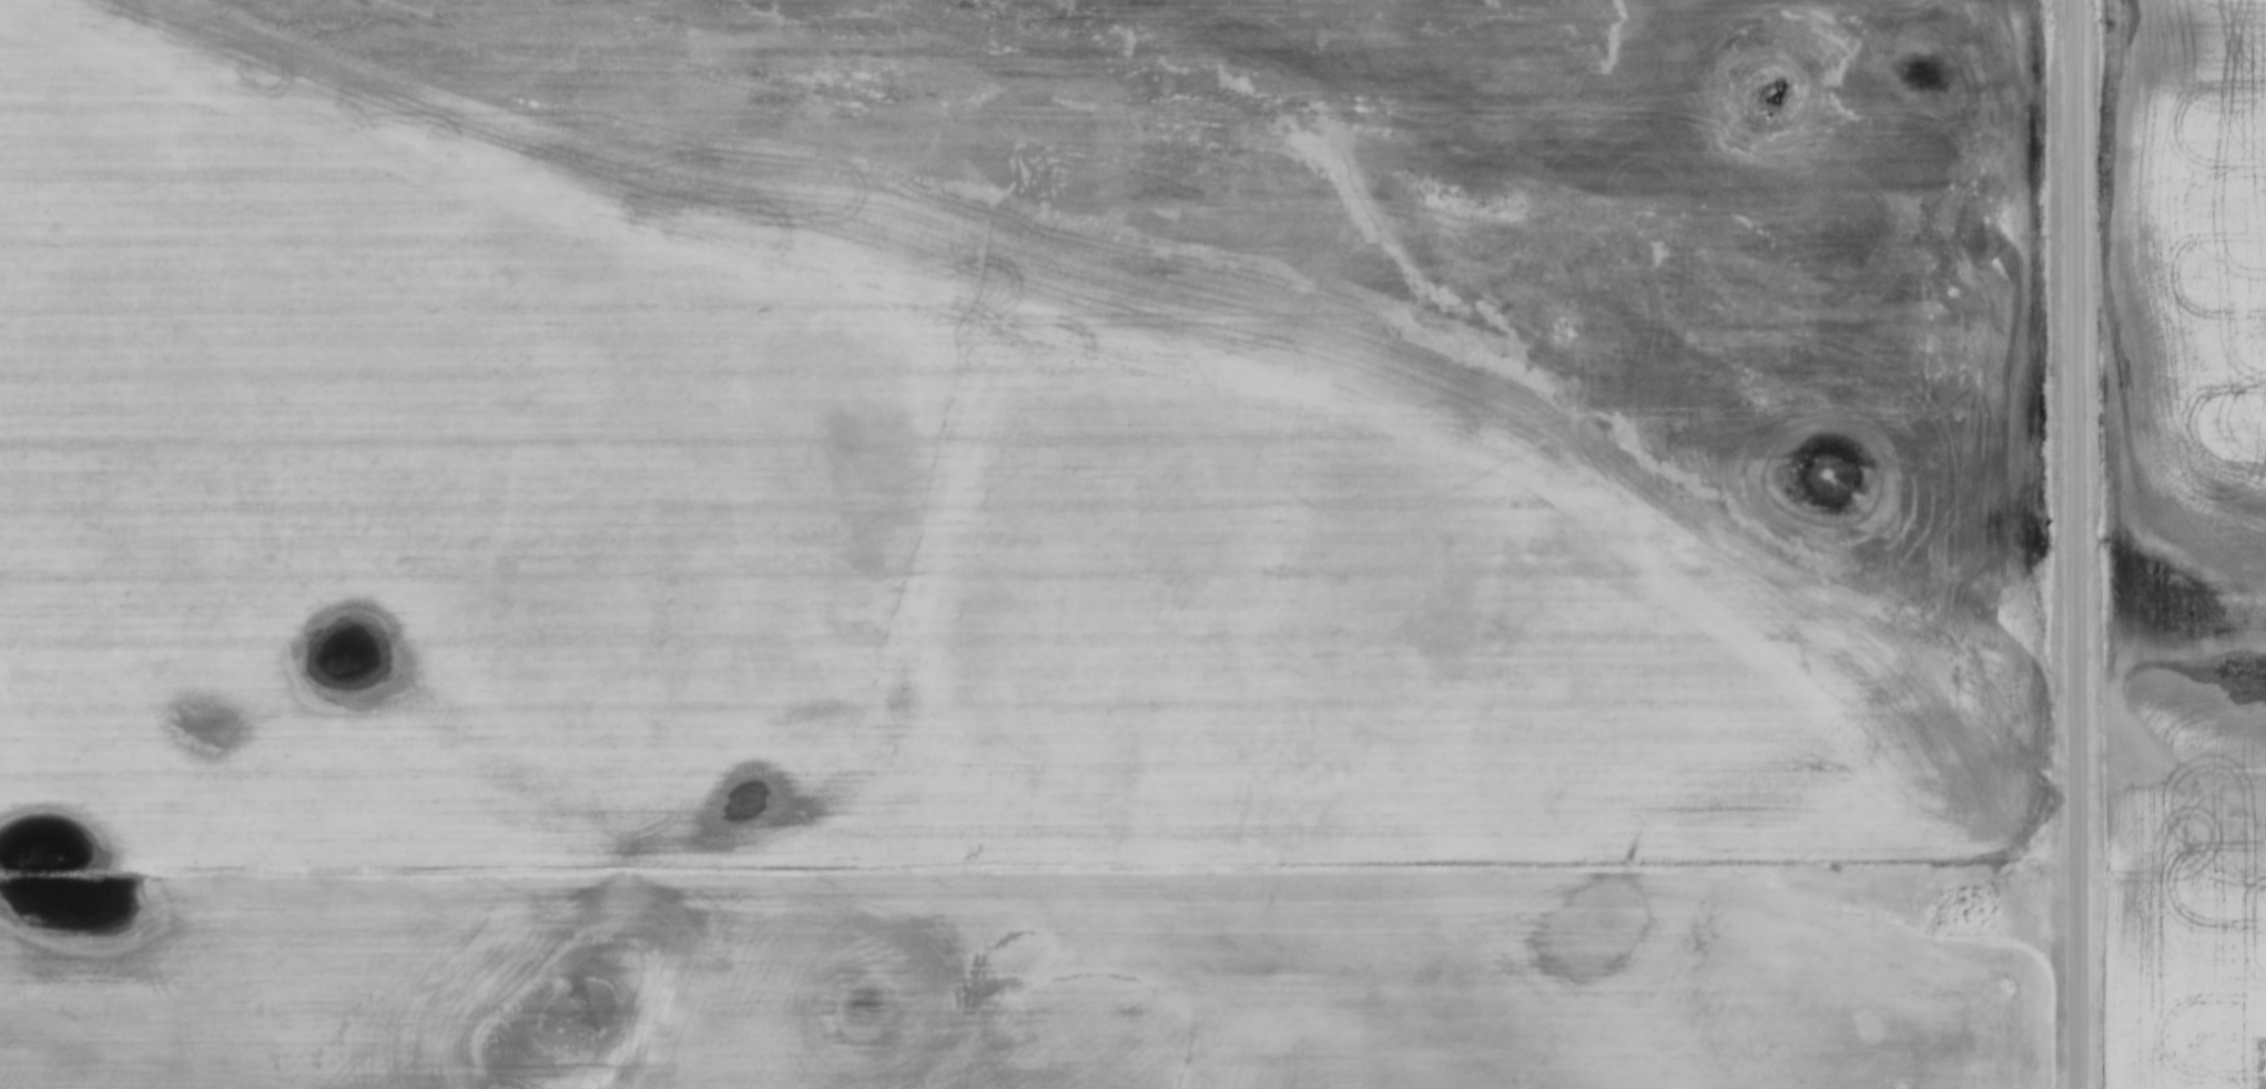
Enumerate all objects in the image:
road: (2074, 544)

